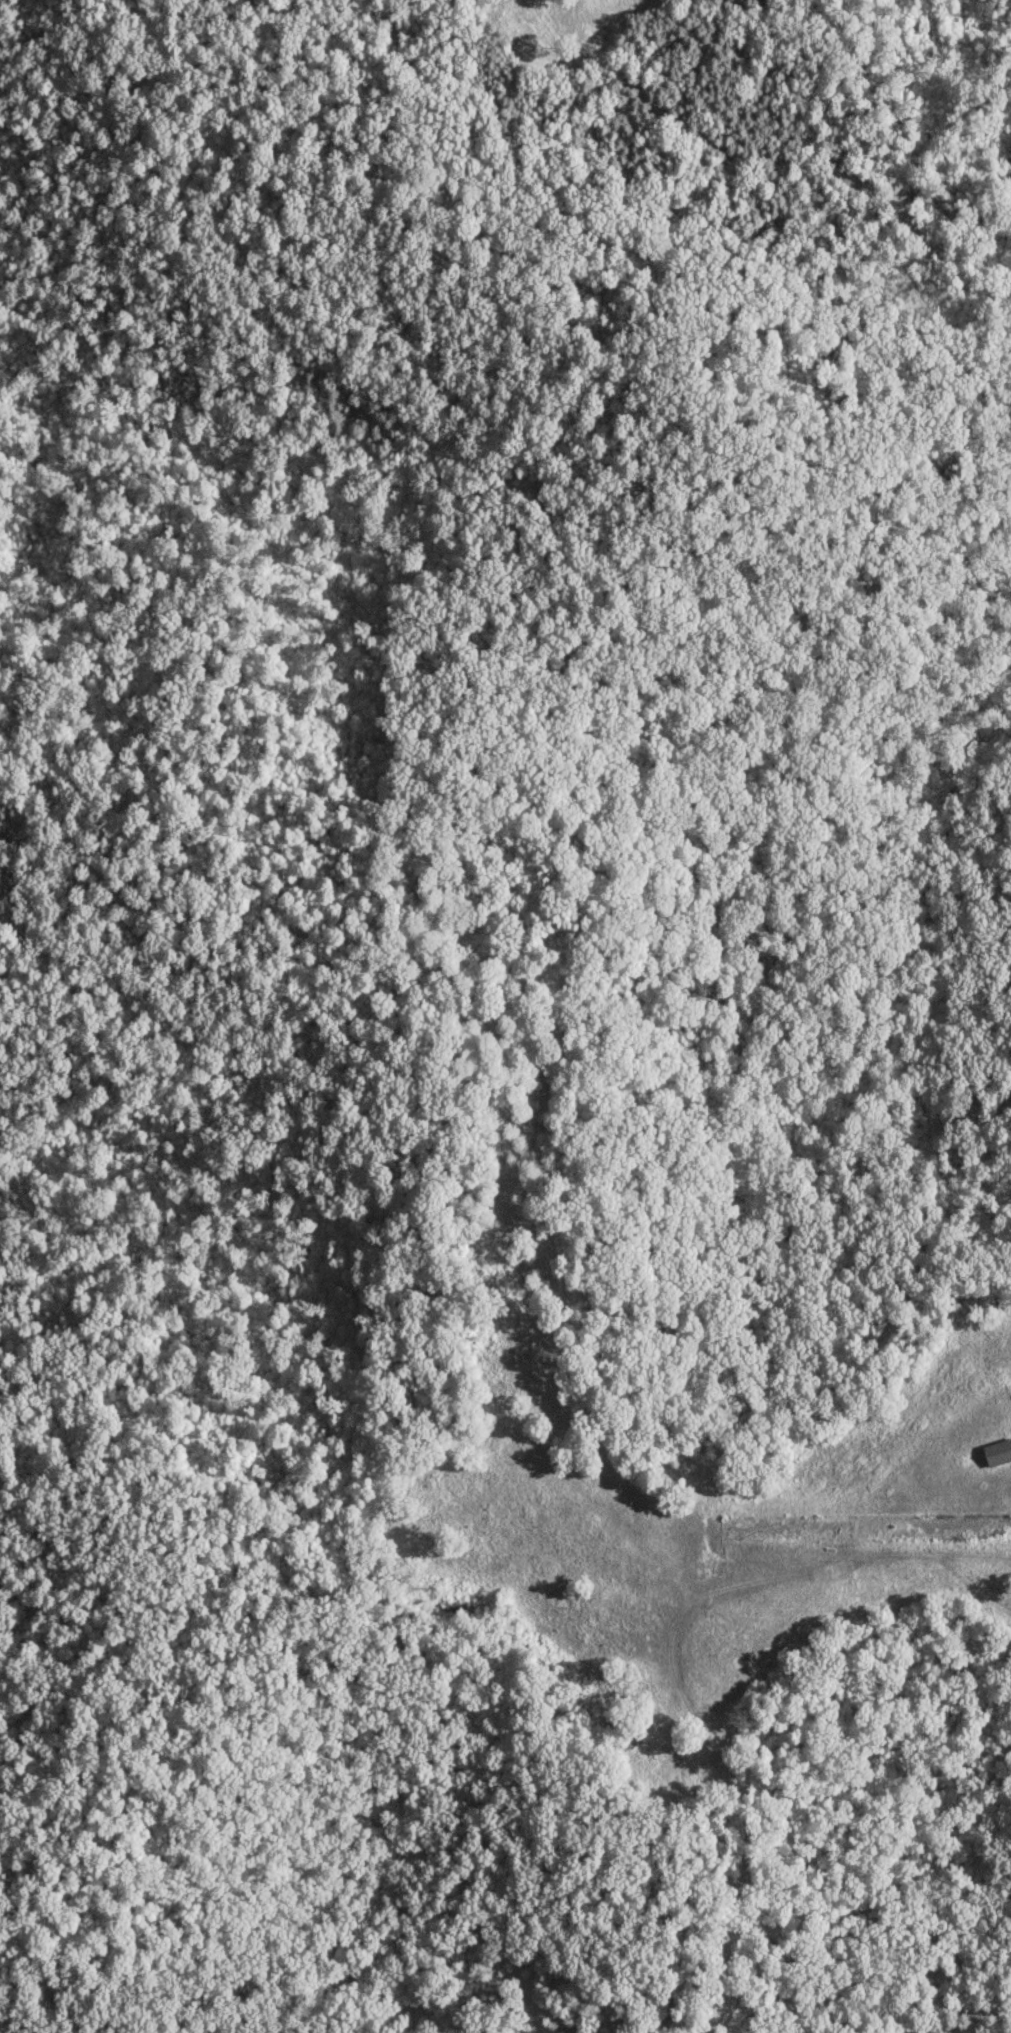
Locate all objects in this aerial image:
building: (999, 1452)

